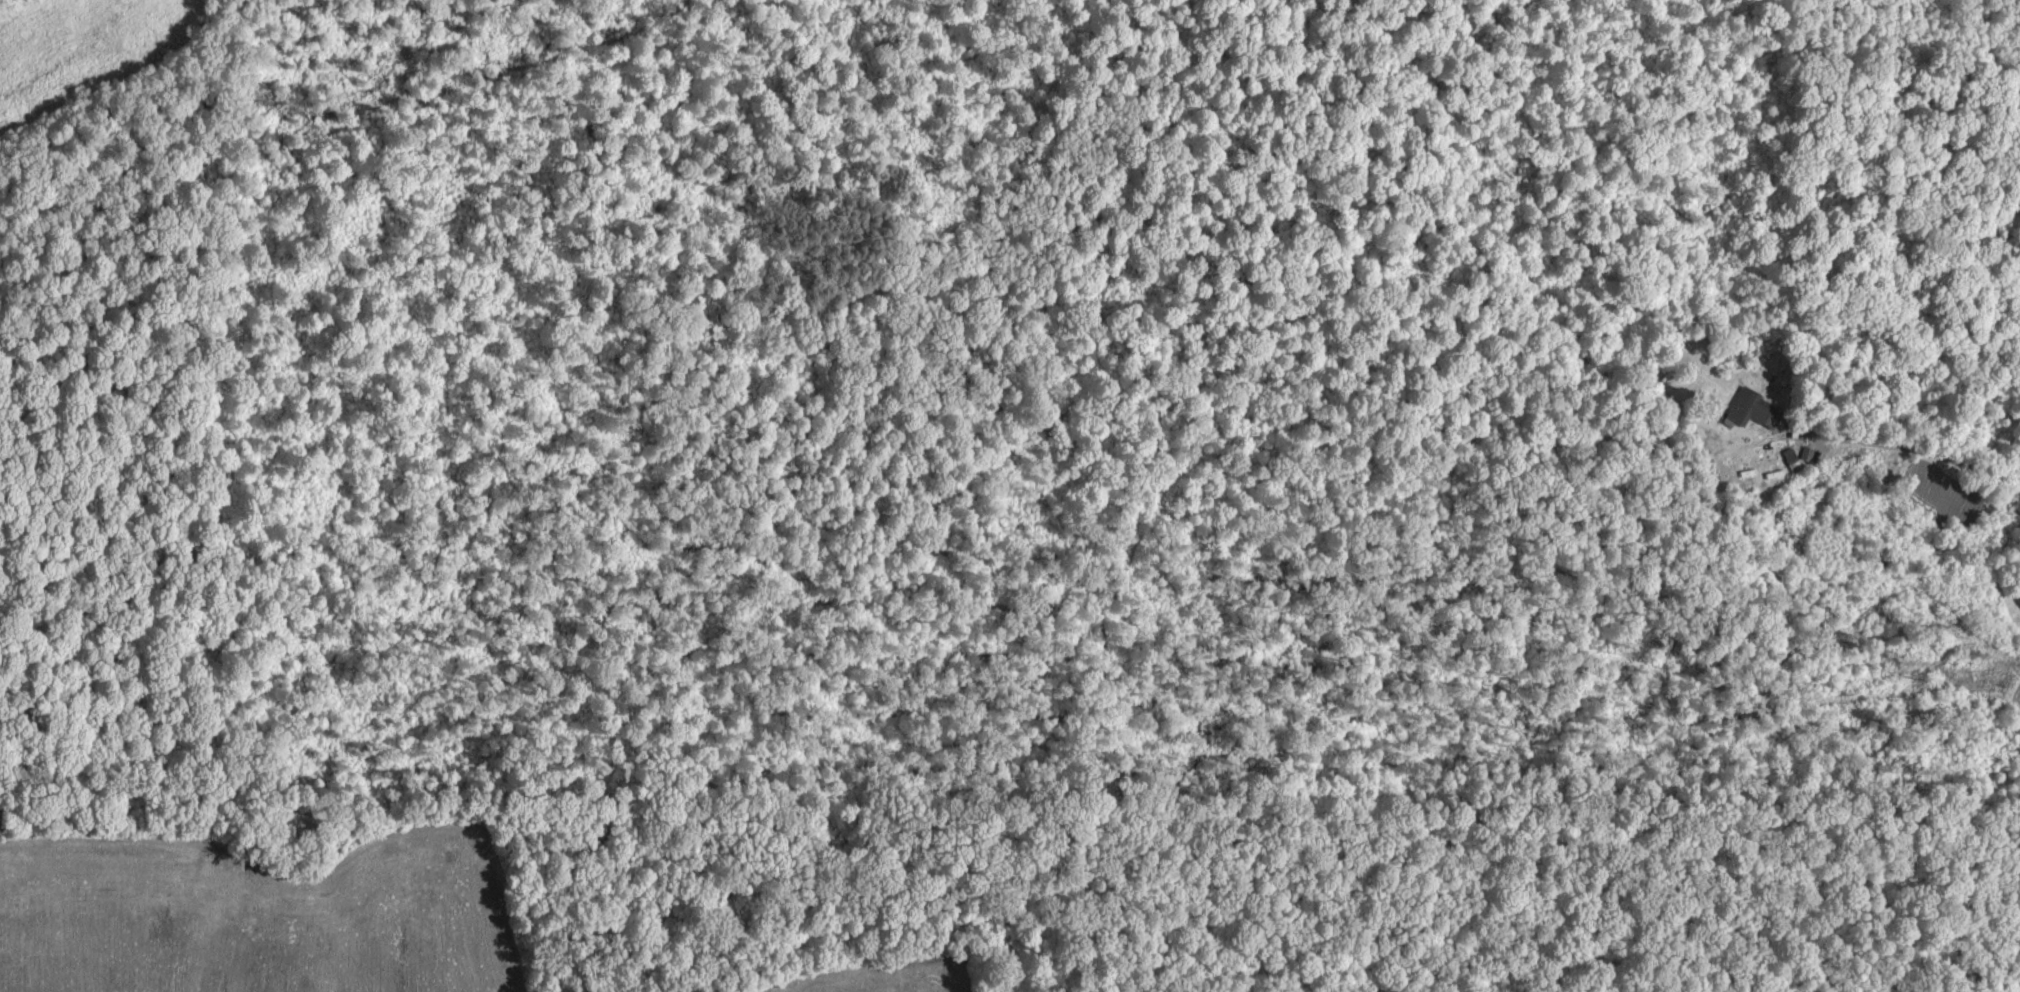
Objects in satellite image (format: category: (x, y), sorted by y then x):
building: (1744, 407)
building: (2017, 596)

